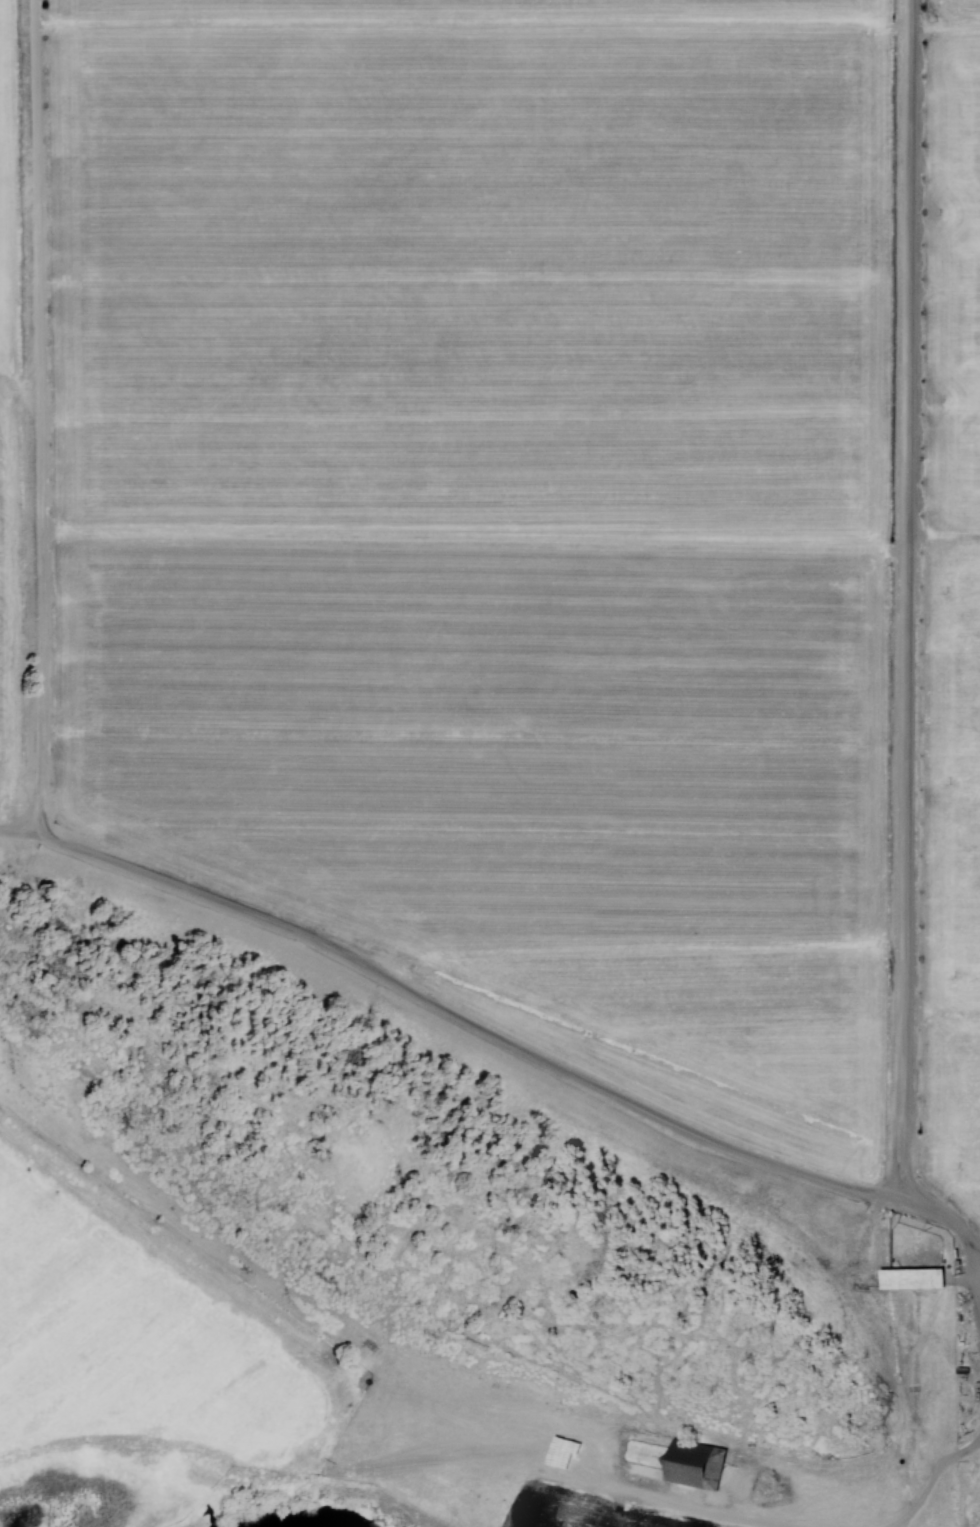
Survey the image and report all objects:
road: (931, 31)
building: (691, 1464)

